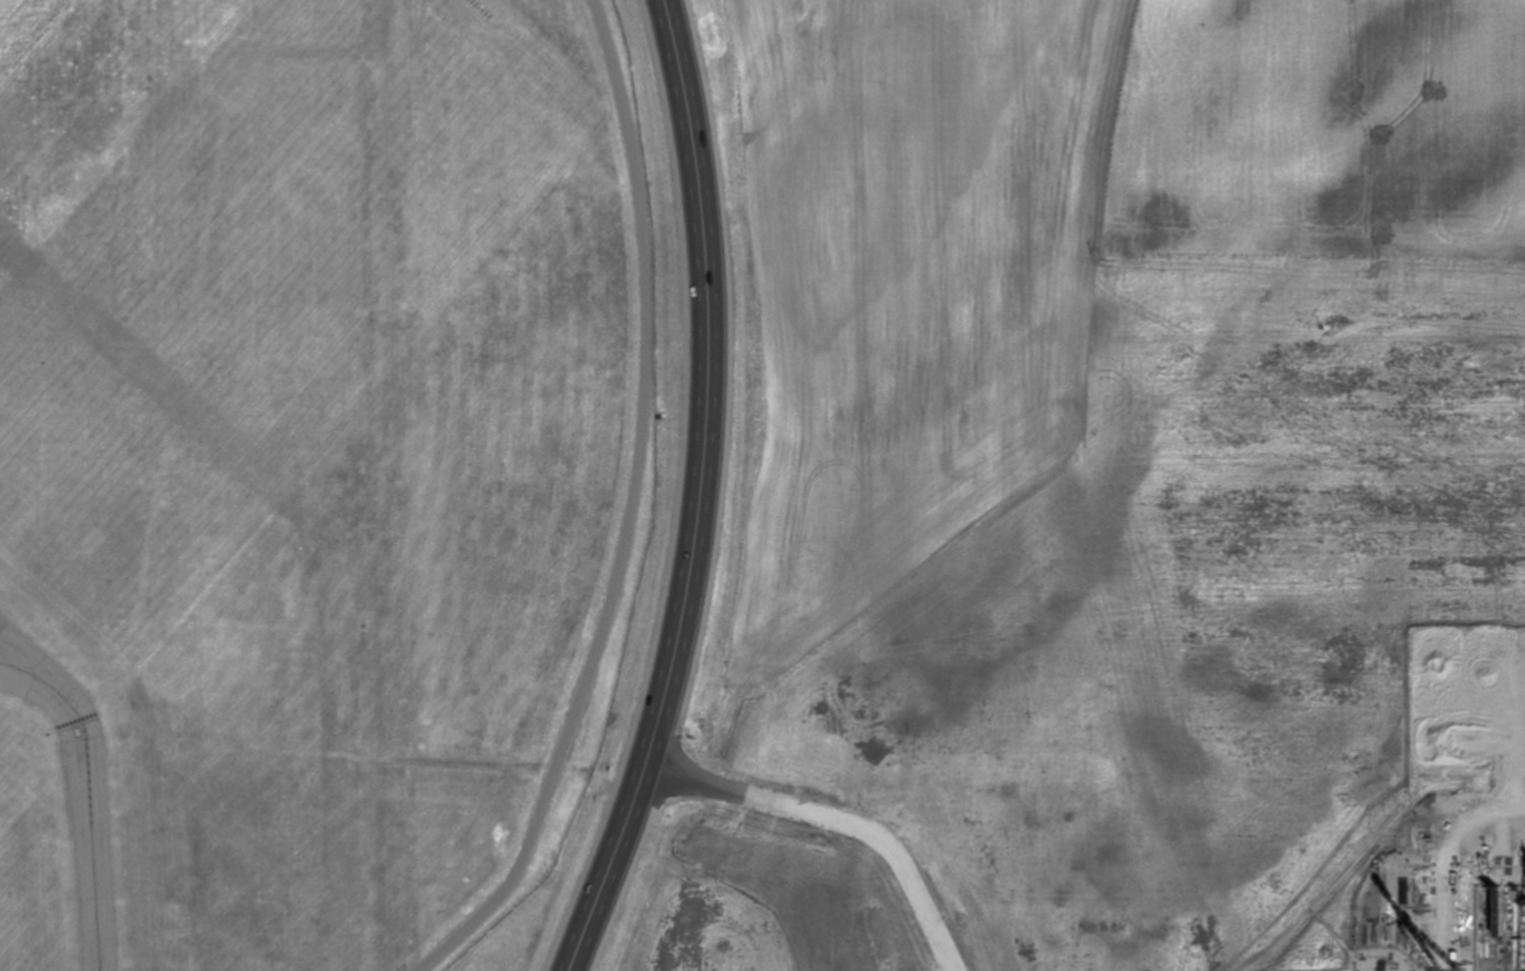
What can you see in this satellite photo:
airport: (327, 473)
road: (697, 493)
crop: (1105, 495)
road: (1230, 670)
airport taxiway: (45, 681)
road: (831, 820)
airport taxiway: (90, 844)

